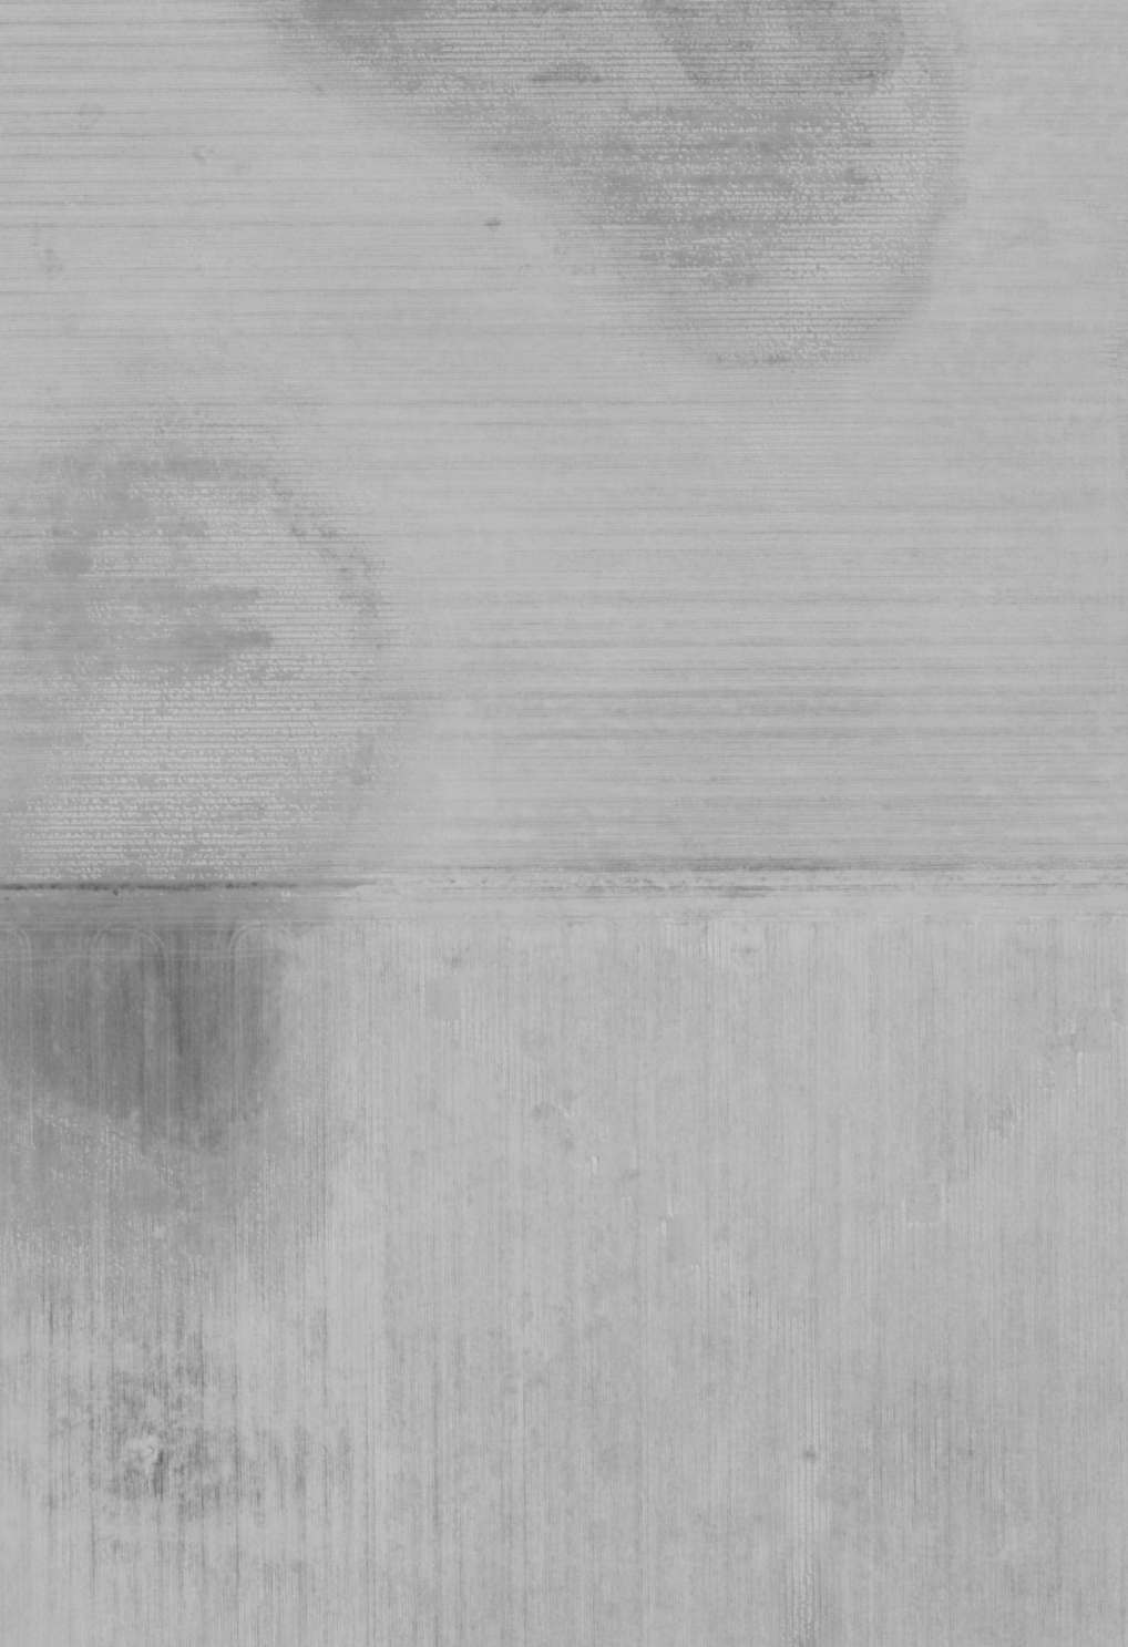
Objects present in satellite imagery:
road: (563, 871)

